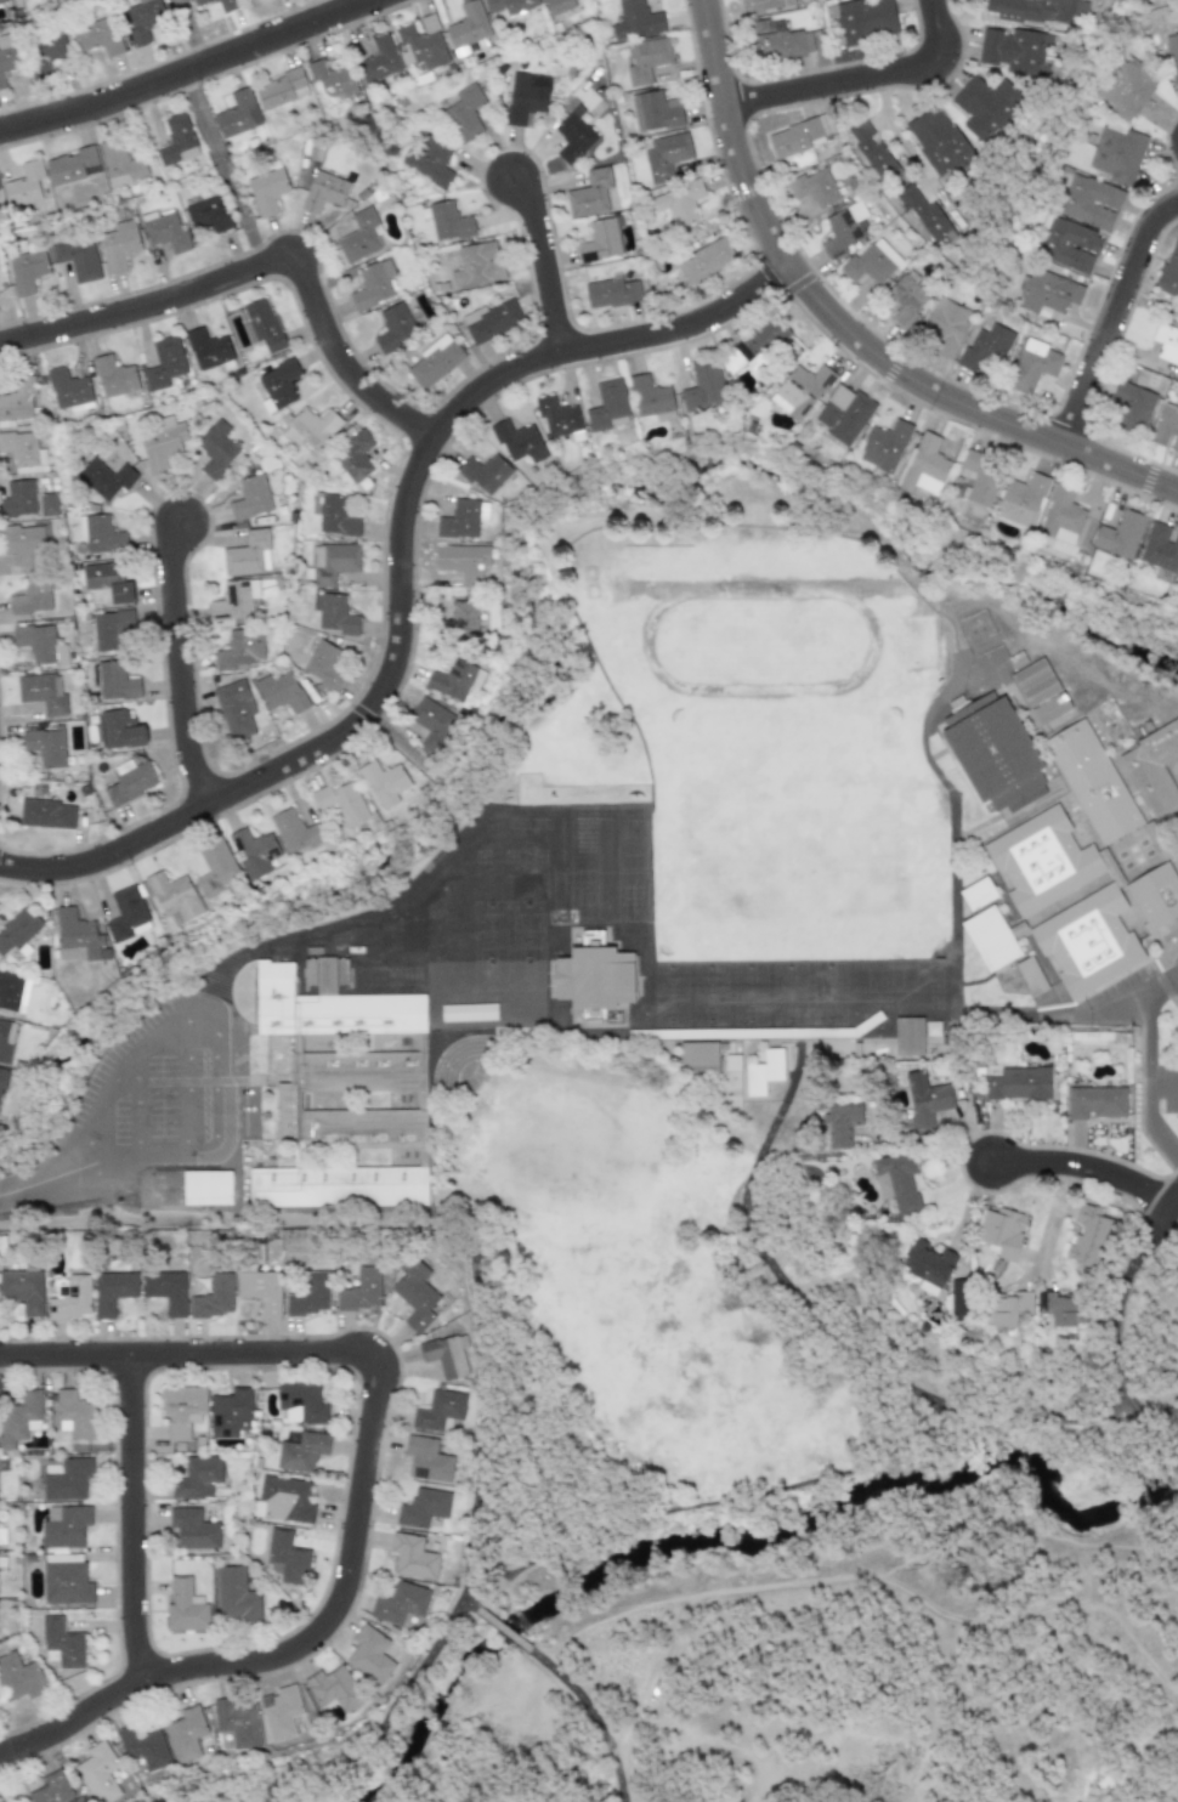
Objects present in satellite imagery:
building: (13, 0)
building: (1, 1)
building: (200, 1)
building: (227, 5)
building: (559, 5)
building: (764, 5)
building: (510, 7)
building: (1035, 10)
building: (143, 19)
building: (865, 19)
building: (635, 21)
building: (468, 28)
road: (188, 34)
building: (98, 36)
building: (774, 40)
building: (421, 44)
building: (1015, 50)
building: (45, 51)
building: (1172, 55)
building: (6, 56)
building: (646, 59)
road: (191, 72)
building: (332, 79)
road: (861, 80)
building: (1123, 87)
building: (281, 90)
building: (525, 97)
building: (985, 106)
building: (655, 110)
building: (464, 113)
building: (237, 114)
road: (885, 121)
building: (573, 135)
building: (799, 135)
building: (176, 141)
building: (939, 143)
building: (871, 148)
building: (1116, 154)
building: (666, 155)
building: (430, 160)
building: (120, 163)
building: (69, 165)
road: (222, 169)
building: (23, 185)
building: (812, 188)
building: (267, 191)
building: (324, 191)
building: (593, 193)
building: (1089, 202)
building: (678, 203)
building: (208, 215)
building: (928, 219)
building: (448, 221)
building: (842, 228)
building: (164, 231)
building: (359, 236)
building: (600, 240)
building: (1067, 244)
building: (118, 245)
building: (77, 256)
road: (542, 260)
building: (704, 260)
building: (872, 262)
building: (477, 263)
road: (256, 265)
building: (27, 271)
building: (1168, 271)
building: (372, 284)
building: (612, 293)
building: (1047, 293)
building: (907, 296)
building: (491, 321)
road: (1114, 321)
building: (262, 324)
building: (945, 325)
building: (393, 327)
road: (845, 330)
building: (760, 340)
building: (1166, 344)
building: (208, 348)
building: (985, 348)
building: (164, 362)
building: (434, 362)
building: (1031, 364)
building: (1177, 373)
building: (114, 376)
building: (279, 382)
building: (702, 386)
building: (68, 390)
building: (800, 390)
building: (651, 398)
building: (17, 399)
building: (607, 406)
building: (1132, 407)
building: (843, 414)
building: (556, 416)
building: (310, 427)
building: (1166, 427)
building: (517, 441)
building: (160, 442)
building: (884, 446)
building: (215, 449)
building: (23, 452)
building: (352, 458)
building: (923, 466)
building: (483, 472)
building: (980, 477)
building: (104, 478)
building: (19, 498)
building: (250, 498)
building: (1021, 500)
building: (47, 504)
building: (333, 515)
building: (1061, 515)
building: (461, 518)
building: (1118, 534)
building: (103, 535)
building: (26, 543)
building: (1160, 548)
building: (248, 554)
building: (461, 561)
building: (332, 562)
building: (103, 574)
road: (397, 579)
building: (123, 594)
building: (1177, 594)
building: (33, 596)
building: (234, 600)
building: (334, 613)
building: (459, 619)
building: (109, 629)
track: (645, 639)
building: (36, 642)
building: (239, 650)
building: (323, 664)
road: (176, 665)
building: (454, 679)
building: (117, 682)
building: (1046, 686)
building: (43, 692)
building: (281, 692)
building: (234, 709)
building: (431, 722)
building: (121, 731)
building: (49, 746)
road: (402, 746)
building: (992, 749)
building: (1155, 765)
building: (1097, 776)
building: (130, 781)
building: (383, 782)
road: (458, 789)
building: (340, 801)
building: (46, 814)
building: (294, 832)
building: (1173, 851)
building: (253, 852)
building: (1047, 857)
building: (213, 867)
building: (1159, 890)
building: (976, 894)
building: (172, 897)
building: (126, 914)
building: (18, 930)
building: (1094, 935)
building: (78, 936)
building: (990, 939)
building: (605, 970)
road: (1160, 986)
building: (13, 991)
road: (1125, 1005)
building: (340, 1007)
building: (907, 1036)
road: (214, 1038)
building: (5, 1039)
building: (697, 1056)
building: (763, 1071)
building: (1, 1079)
road: (181, 1083)
building: (1018, 1083)
road: (1145, 1083)
road: (1162, 1086)
building: (294, 1099)
building: (925, 1099)
building: (1094, 1101)
road: (137, 1105)
building: (842, 1123)
road: (1083, 1168)
road: (58, 1179)
building: (197, 1183)
building: (896, 1183)
building: (345, 1184)
road: (1173, 1201)
road: (1052, 1217)
road: (221, 1219)
building: (1001, 1234)
building: (1088, 1235)
building: (927, 1265)
building: (22, 1290)
building: (165, 1290)
building: (260, 1290)
building: (361, 1290)
building: (111, 1291)
building: (414, 1293)
building: (308, 1294)
building: (213, 1297)
building: (69, 1298)
building: (958, 1300)
building: (1060, 1308)
building: (1007, 1309)
road: (1115, 1325)
building: (446, 1354)
building: (181, 1410)
building: (437, 1410)
building: (230, 1412)
building: (75, 1415)
road: (1167, 1417)
building: (19, 1418)
building: (301, 1451)
building: (426, 1458)
building: (64, 1477)
building: (197, 1478)
road: (800, 1485)
road: (361, 1487)
building: (283, 1498)
building: (423, 1507)
road: (132, 1518)
building: (66, 1526)
building: (192, 1529)
building: (287, 1557)
building: (412, 1557)
road: (469, 1559)
road: (871, 1576)
building: (64, 1579)
building: (236, 1596)
building: (400, 1603)
road: (474, 1604)
building: (183, 1606)
road: (508, 1628)
building: (62, 1643)
building: (369, 1654)
building: (19, 1677)
building: (333, 1688)
building: (279, 1712)
road: (595, 1716)
building: (236, 1722)
building: (185, 1734)
building: (142, 1747)
building: (97, 1773)

